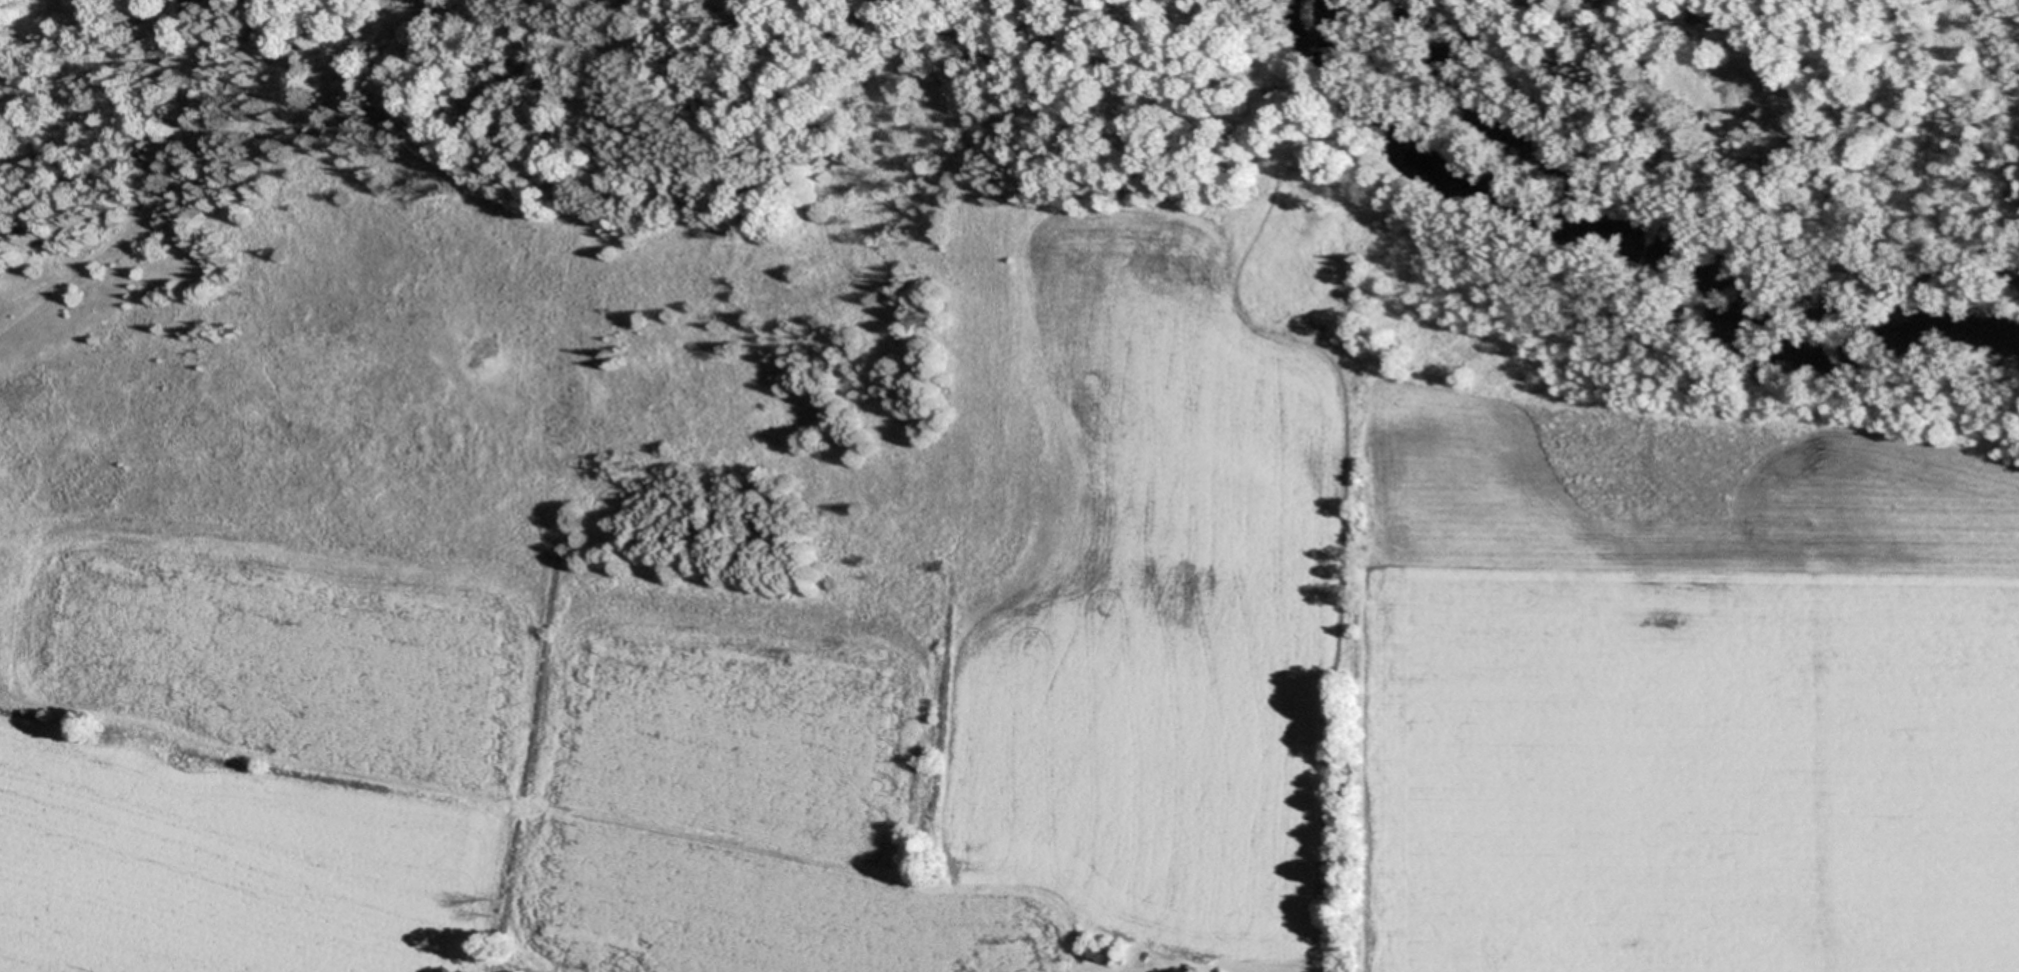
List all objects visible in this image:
building: (1695, 17)
river: (1640, 240)
building: (1101, 954)

